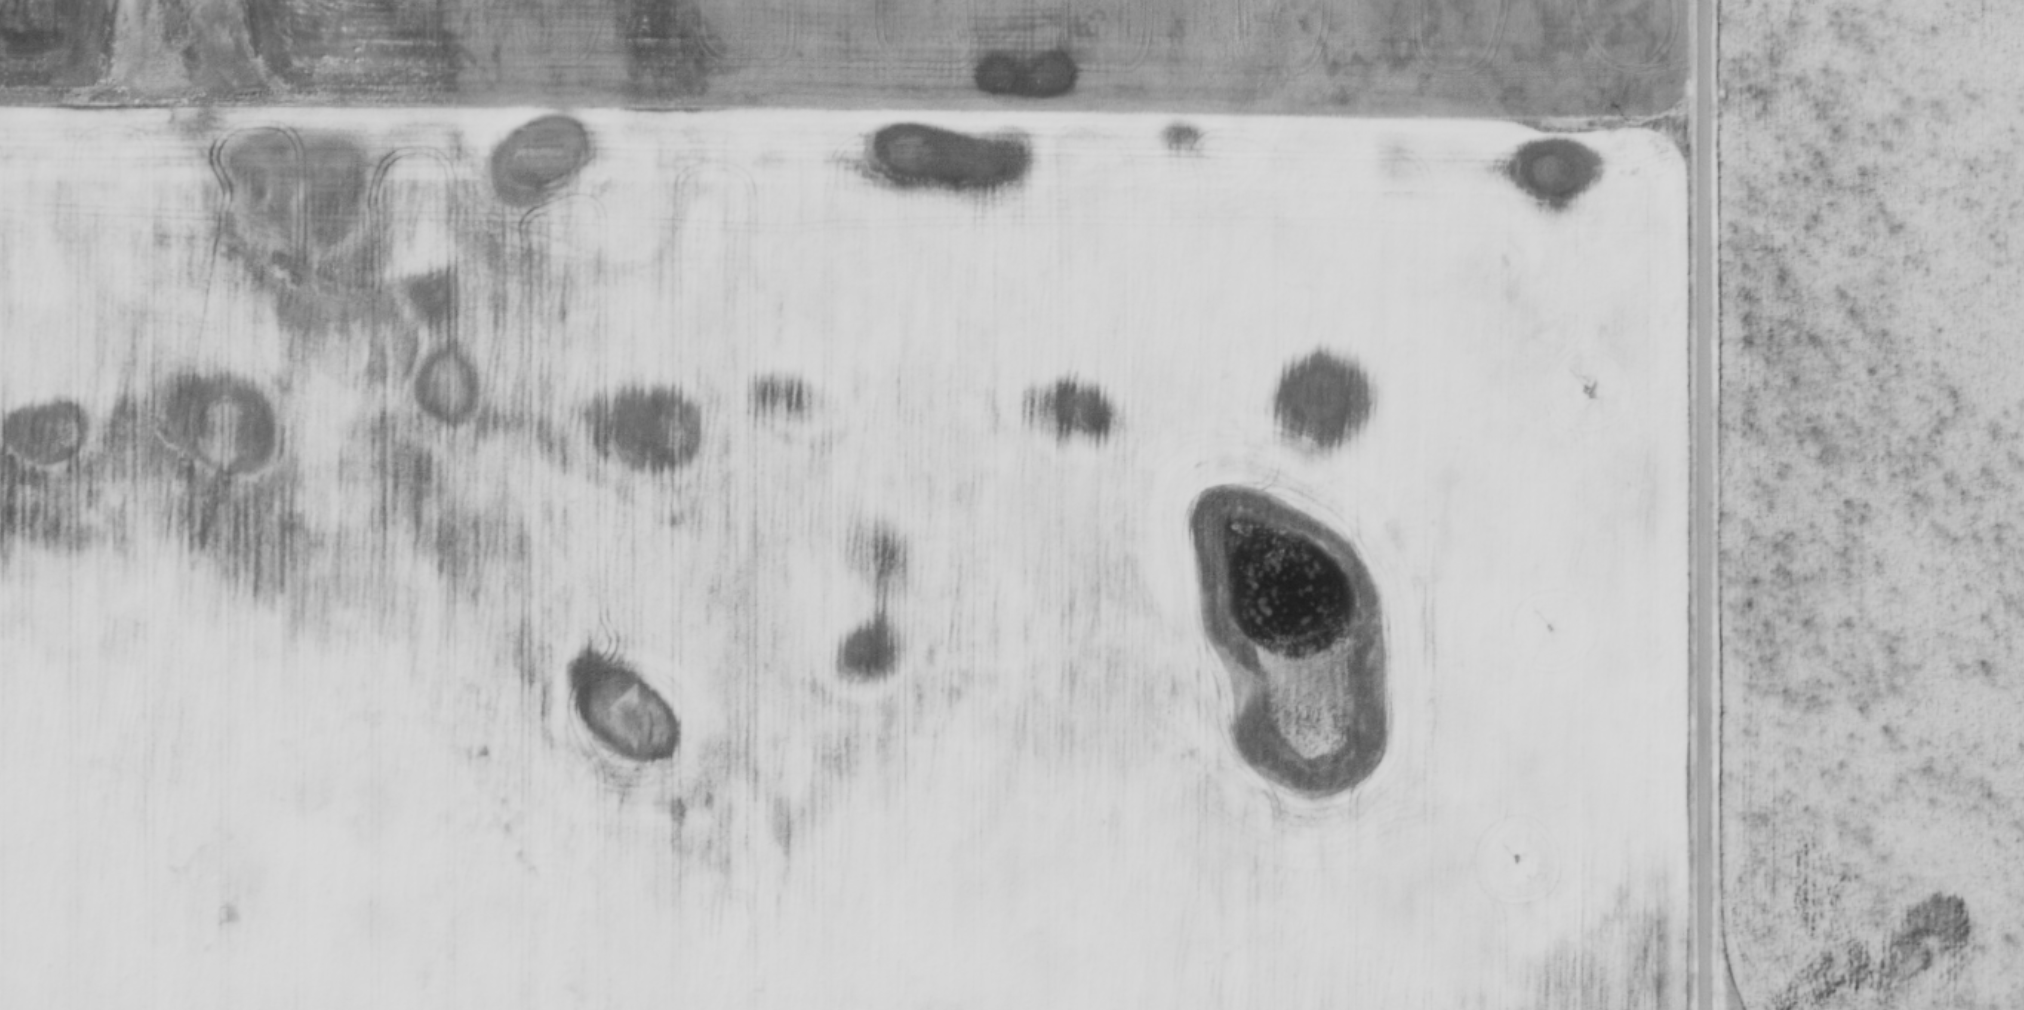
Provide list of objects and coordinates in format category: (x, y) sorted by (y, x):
road: (1698, 505)

